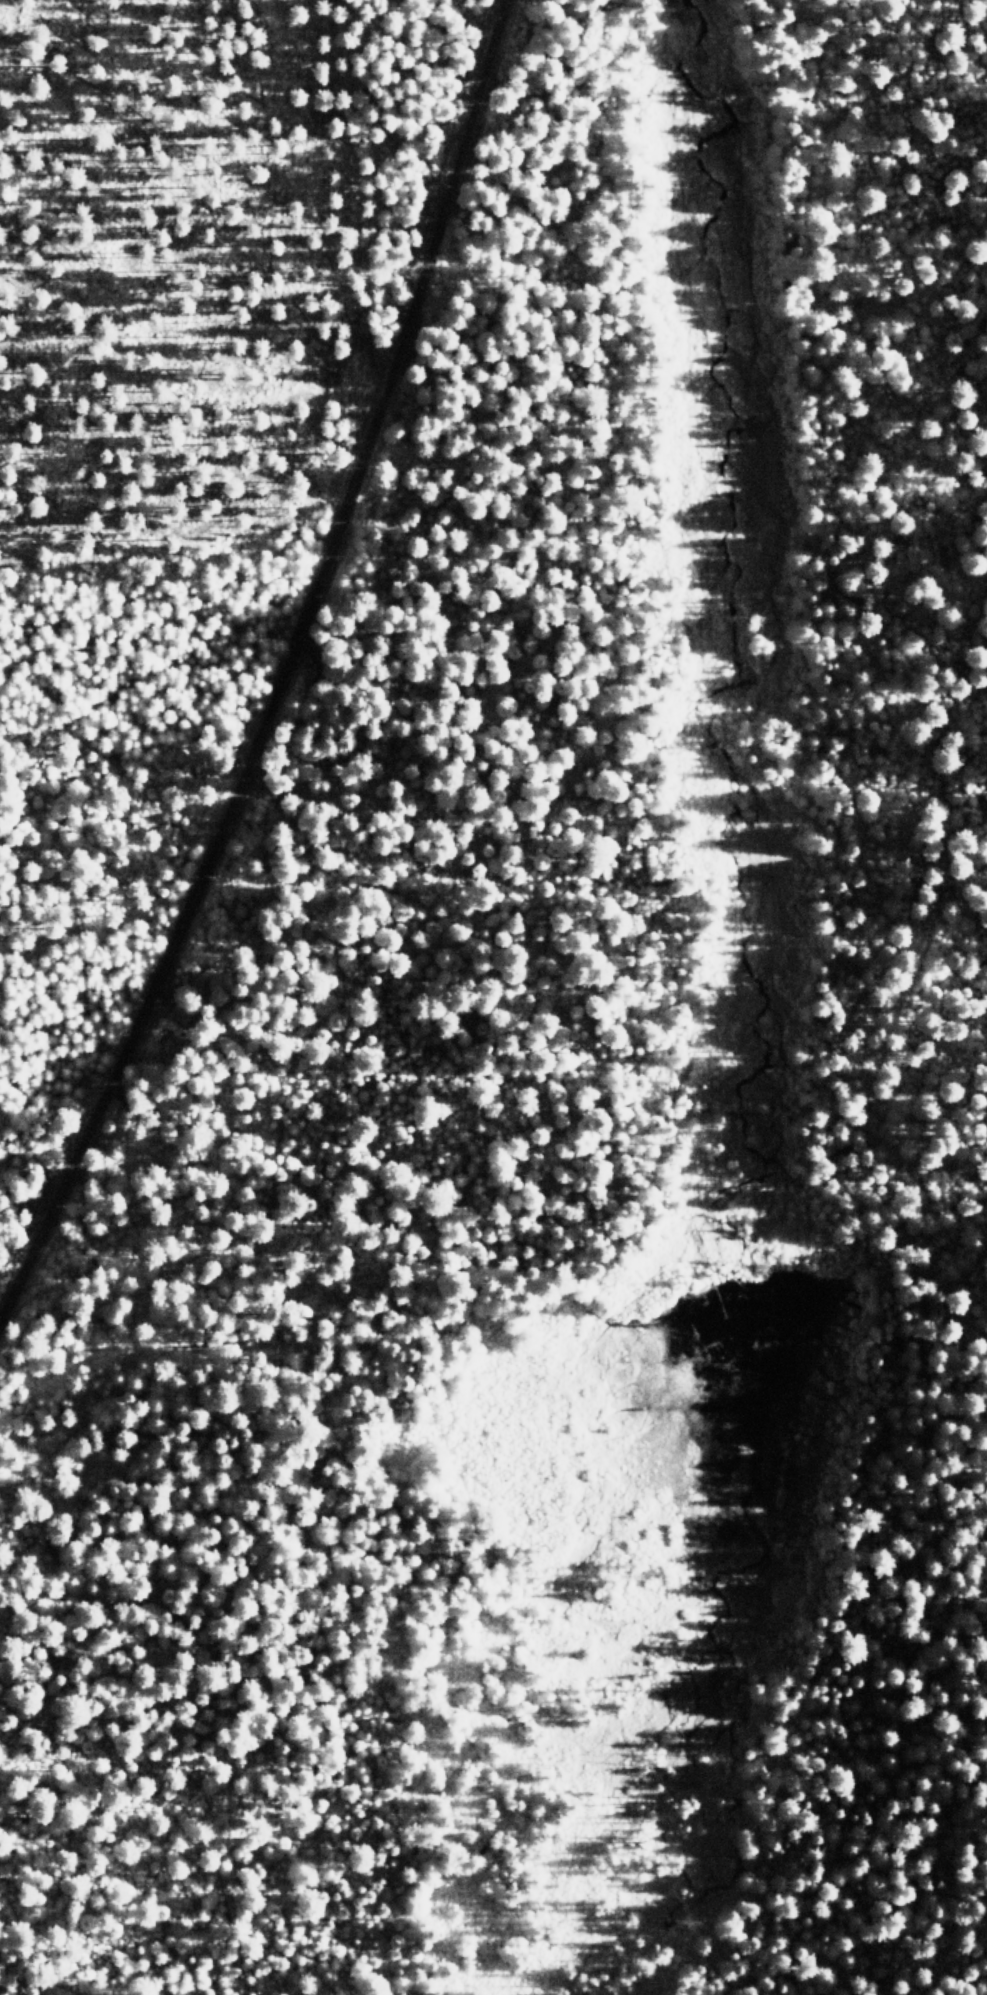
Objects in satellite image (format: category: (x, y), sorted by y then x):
road: (284, 662)

